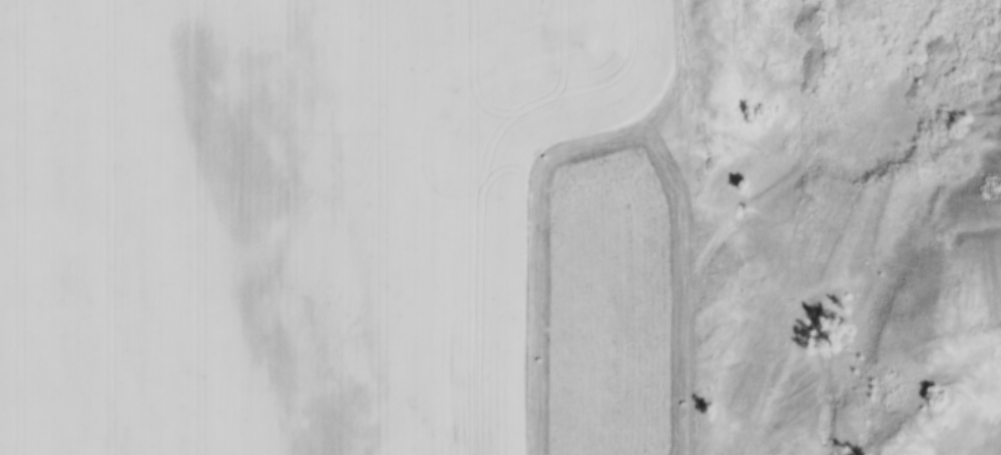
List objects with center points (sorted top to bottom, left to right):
road: (539, 177)
quarry: (842, 225)

